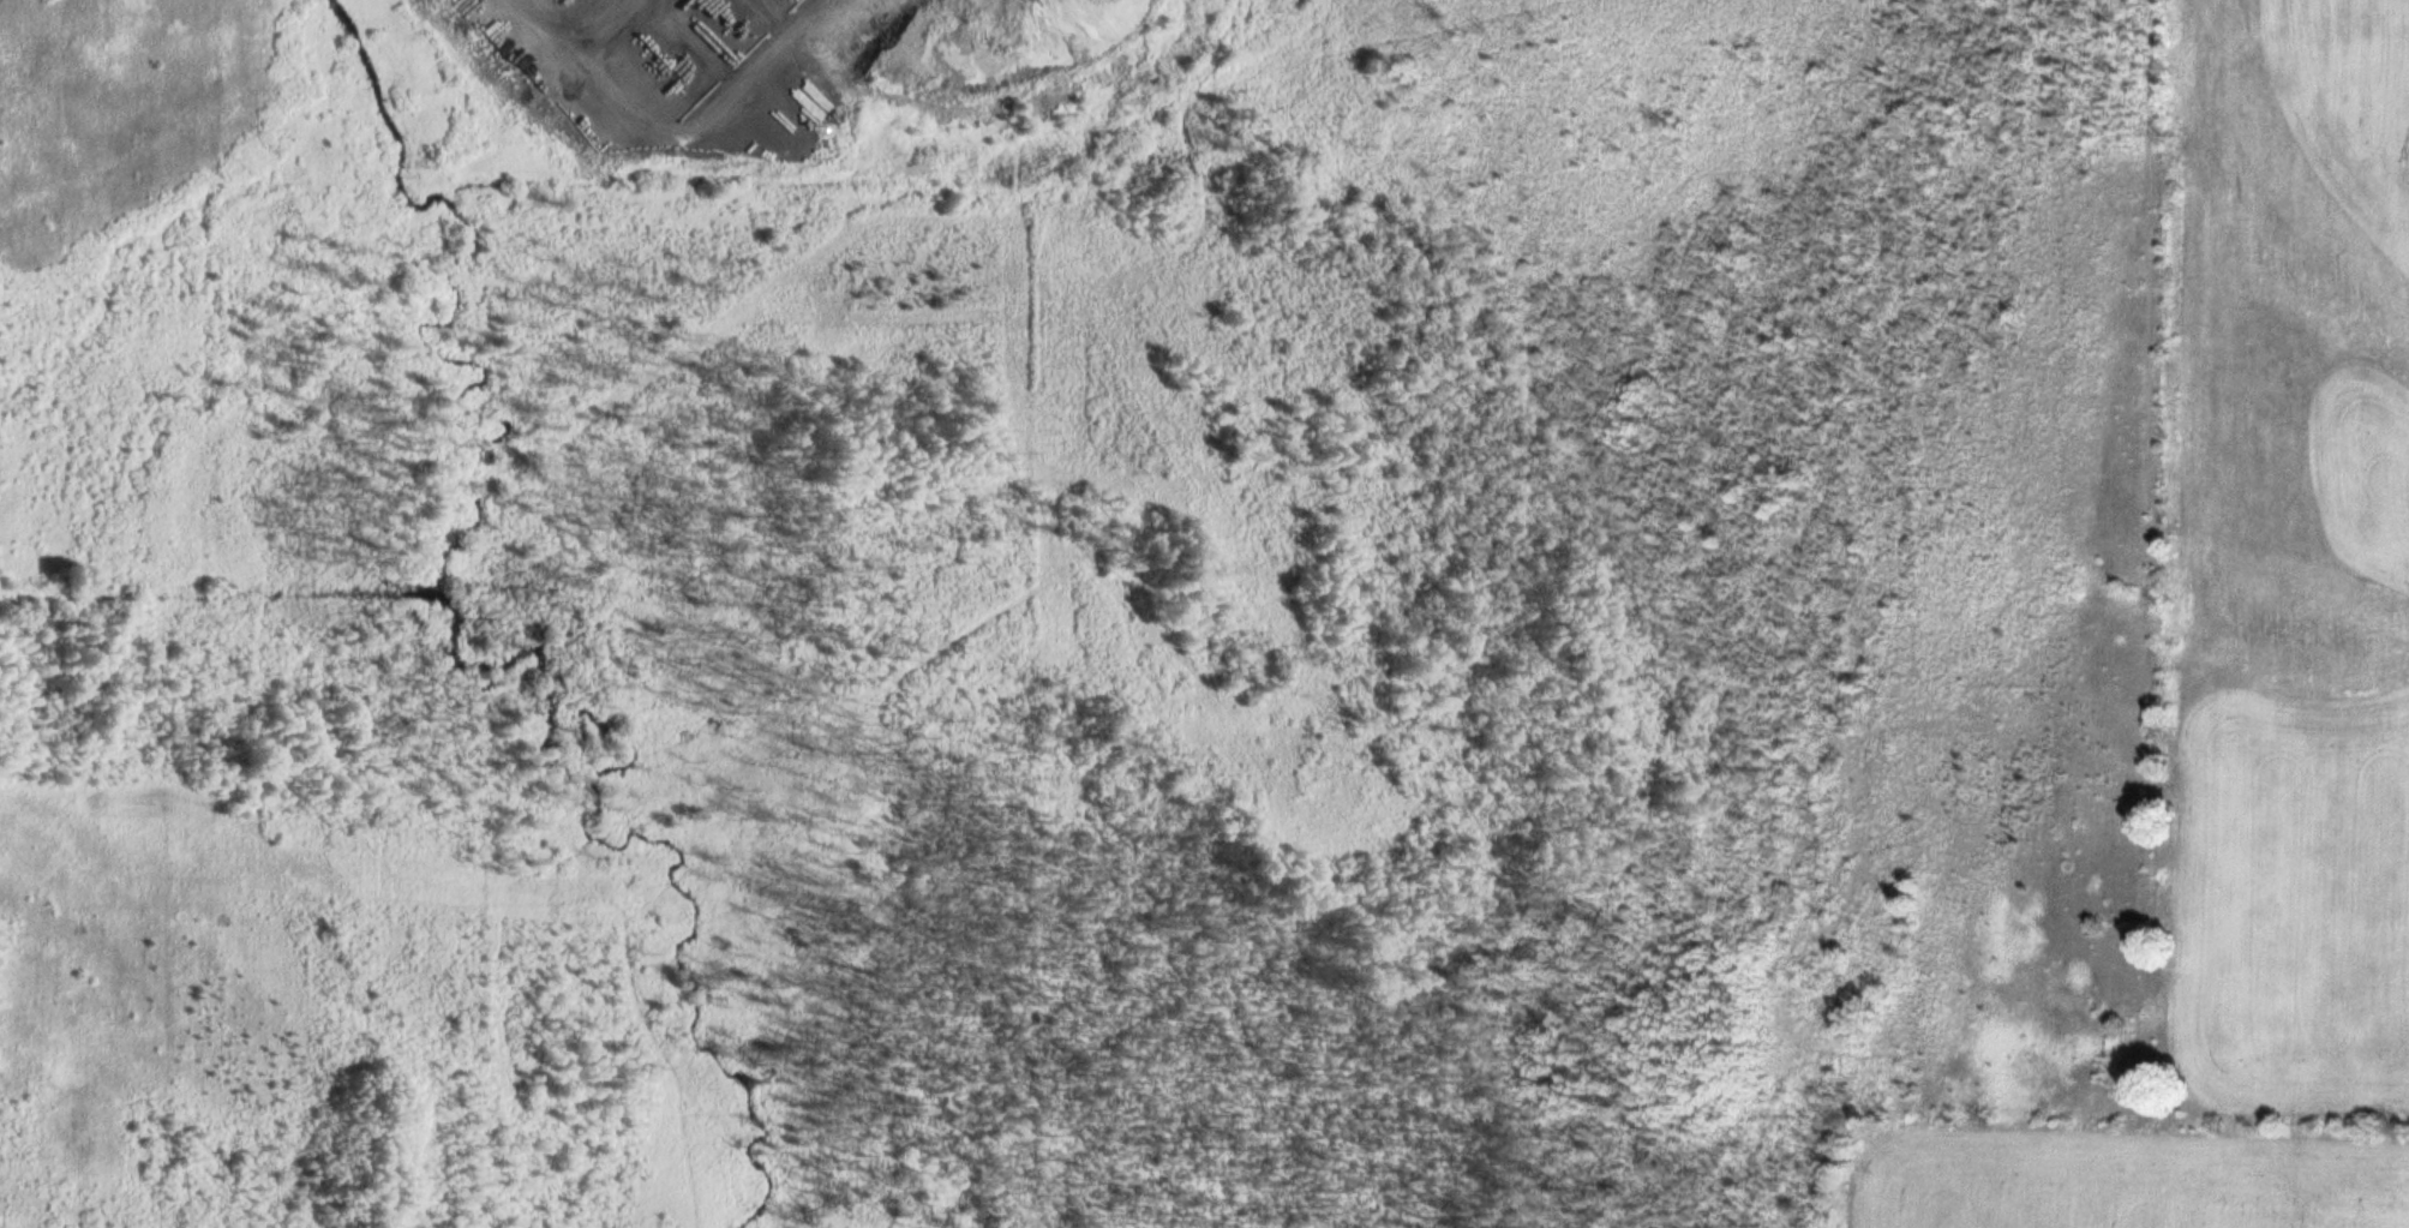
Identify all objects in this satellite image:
building: (568, 120)

